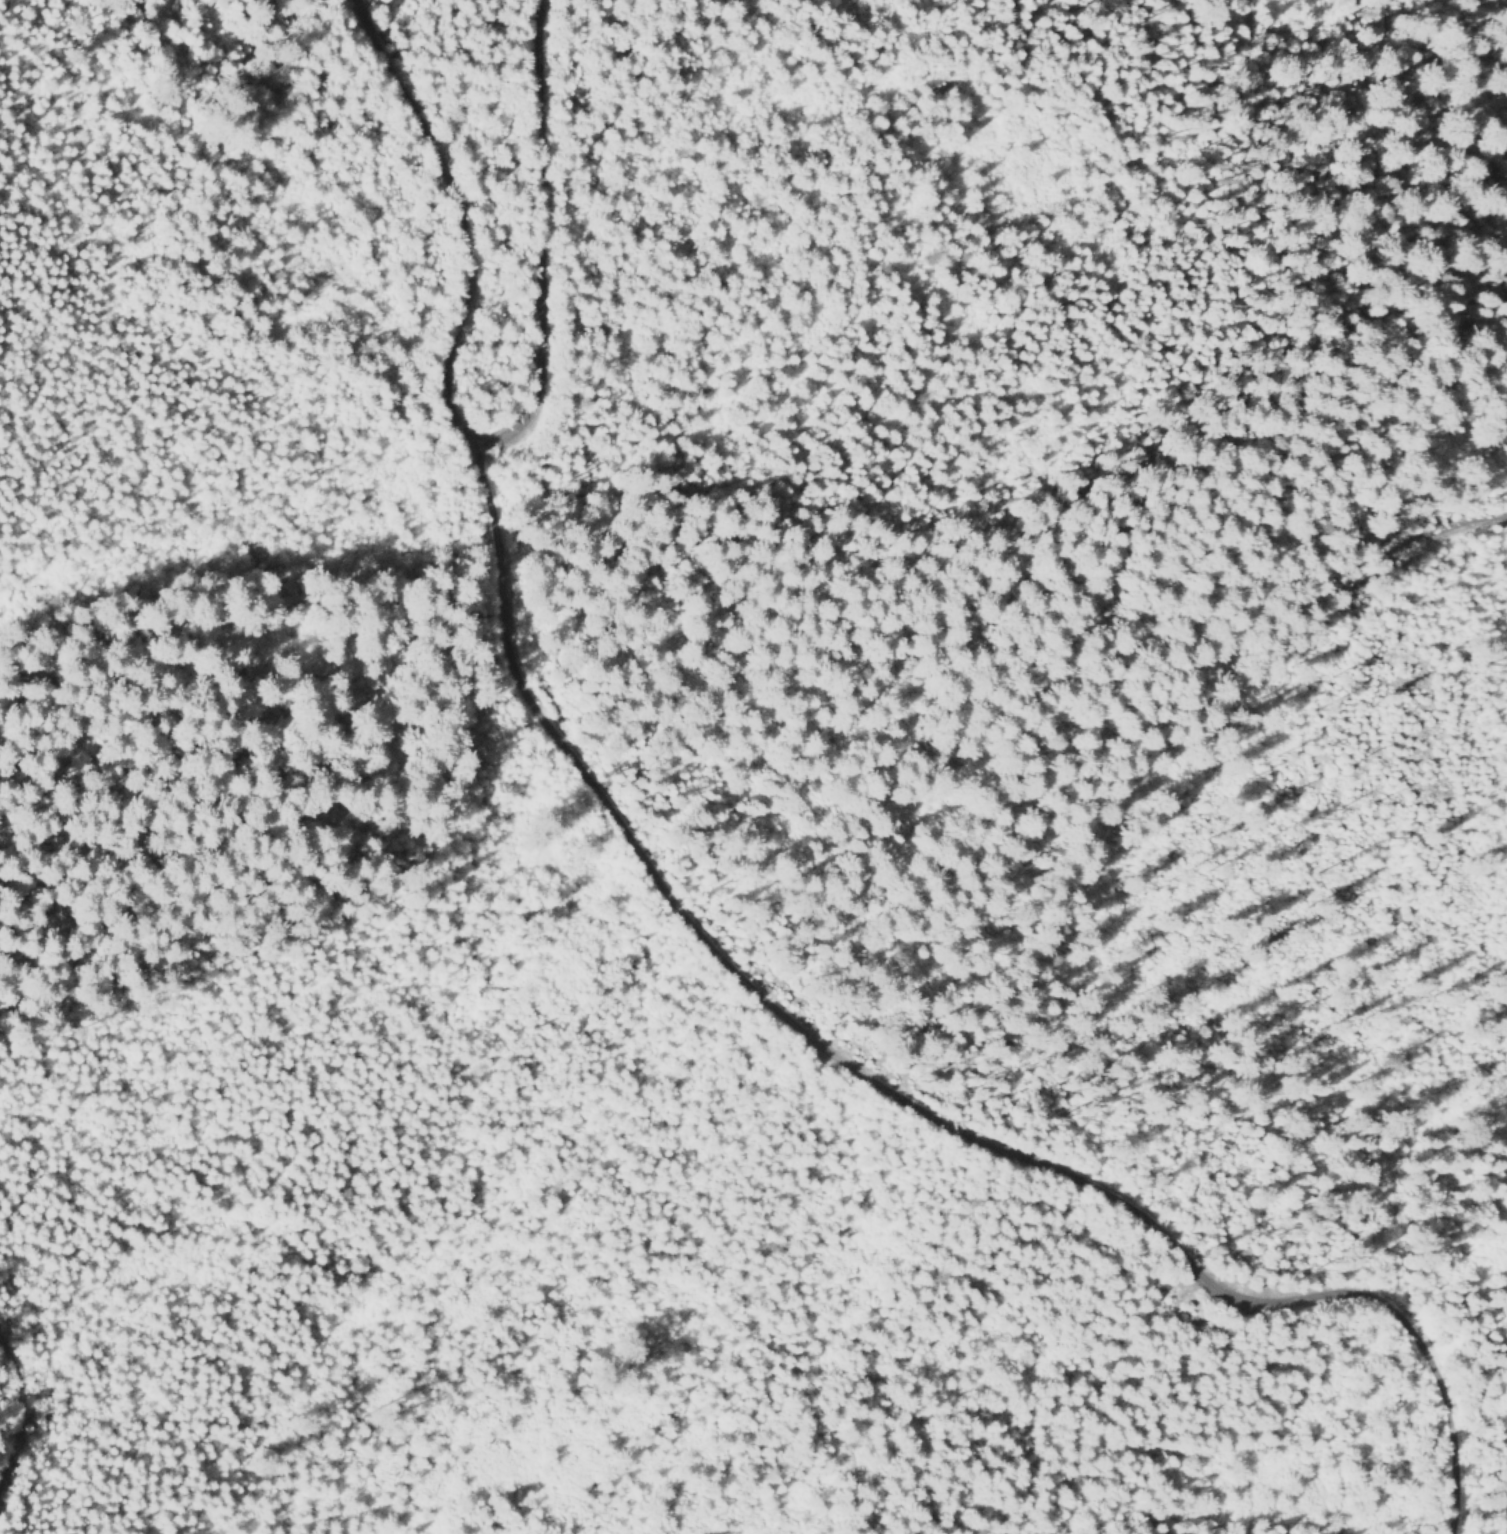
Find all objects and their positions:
road: (467, 215)
road: (549, 240)
road: (1453, 531)
road: (897, 1097)
road: (18, 1417)

